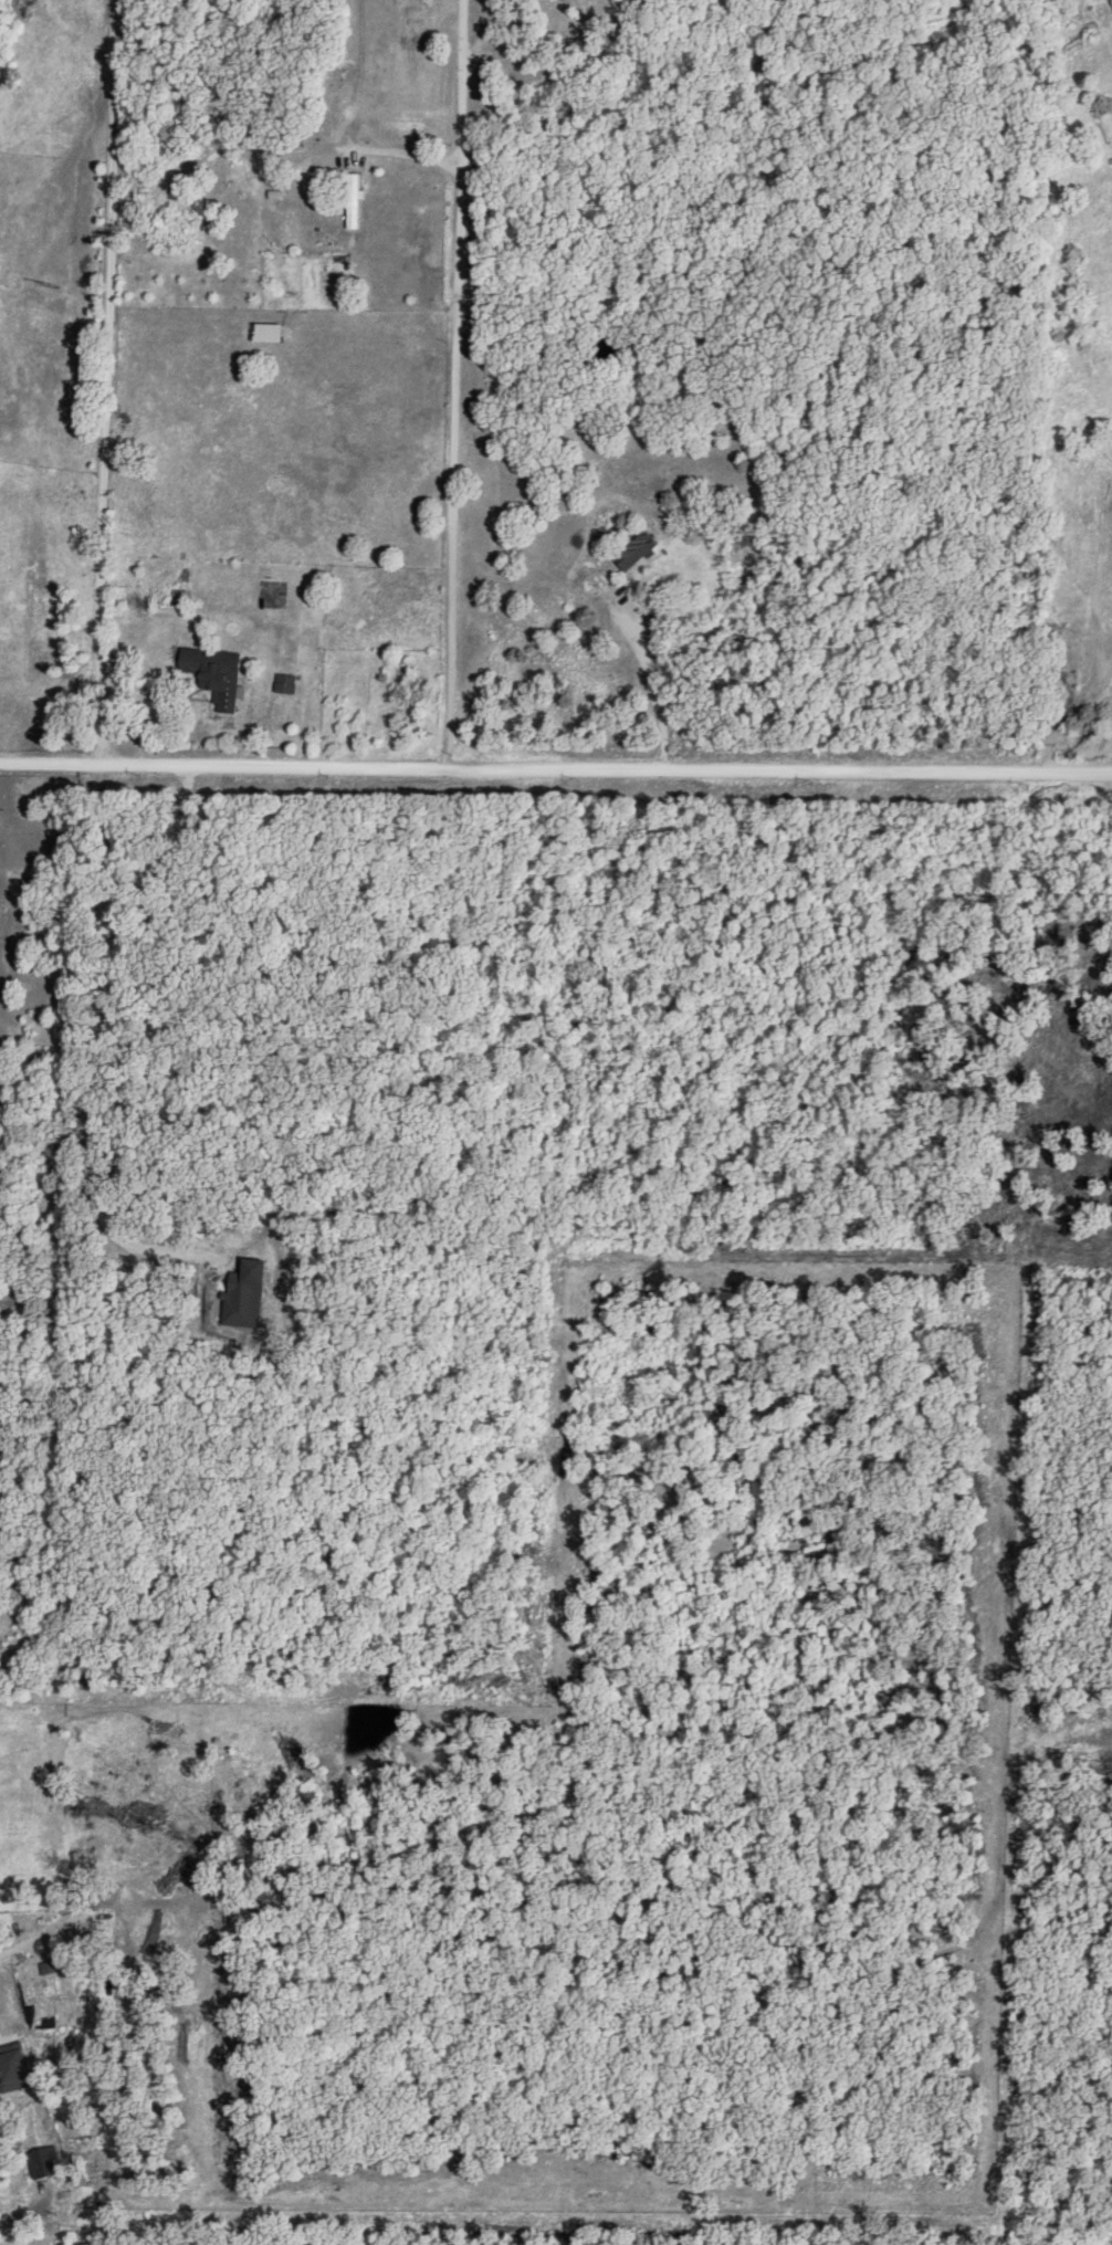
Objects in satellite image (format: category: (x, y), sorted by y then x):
building: (355, 200)
power tower: (48, 287)
building: (267, 332)
road: (452, 385)
building: (636, 550)
building: (216, 673)
road: (555, 770)
building: (14, 2068)

